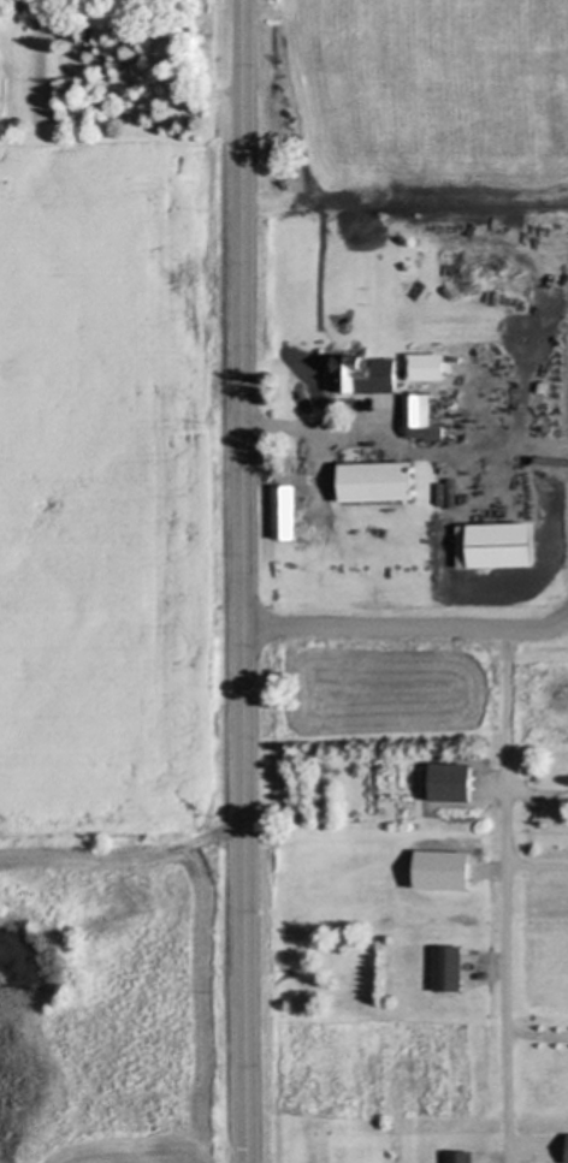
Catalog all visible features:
building: (422, 368)
building: (362, 376)
building: (418, 421)
road: (315, 429)
road: (474, 455)
building: (372, 483)
building: (282, 515)
building: (490, 547)
road: (244, 581)
road: (408, 625)
building: (448, 784)
road: (538, 793)
road: (538, 867)
building: (438, 872)
road: (508, 895)
building: (445, 971)
road: (538, 1037)
building: (566, 1149)
building: (456, 1158)

